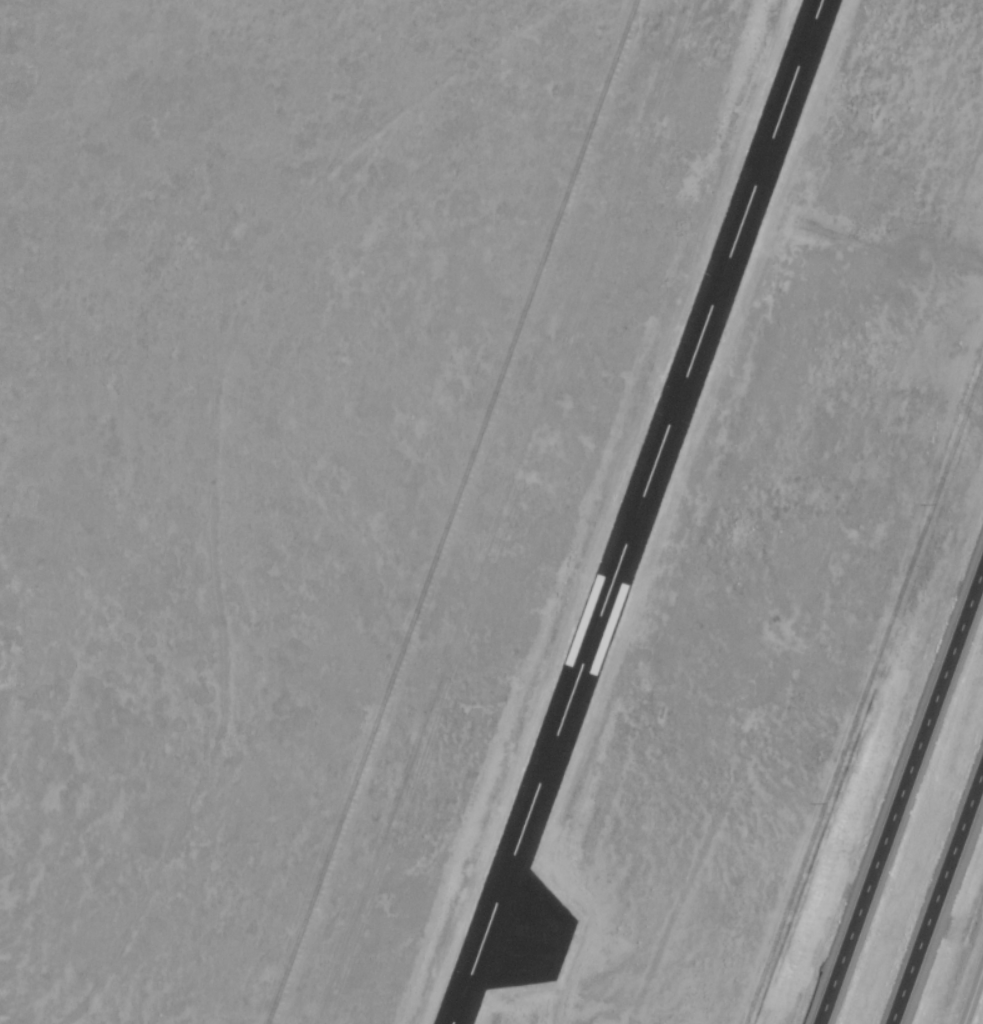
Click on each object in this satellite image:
airport runway: (641, 512)
road: (899, 790)
road: (940, 904)
road: (973, 998)

